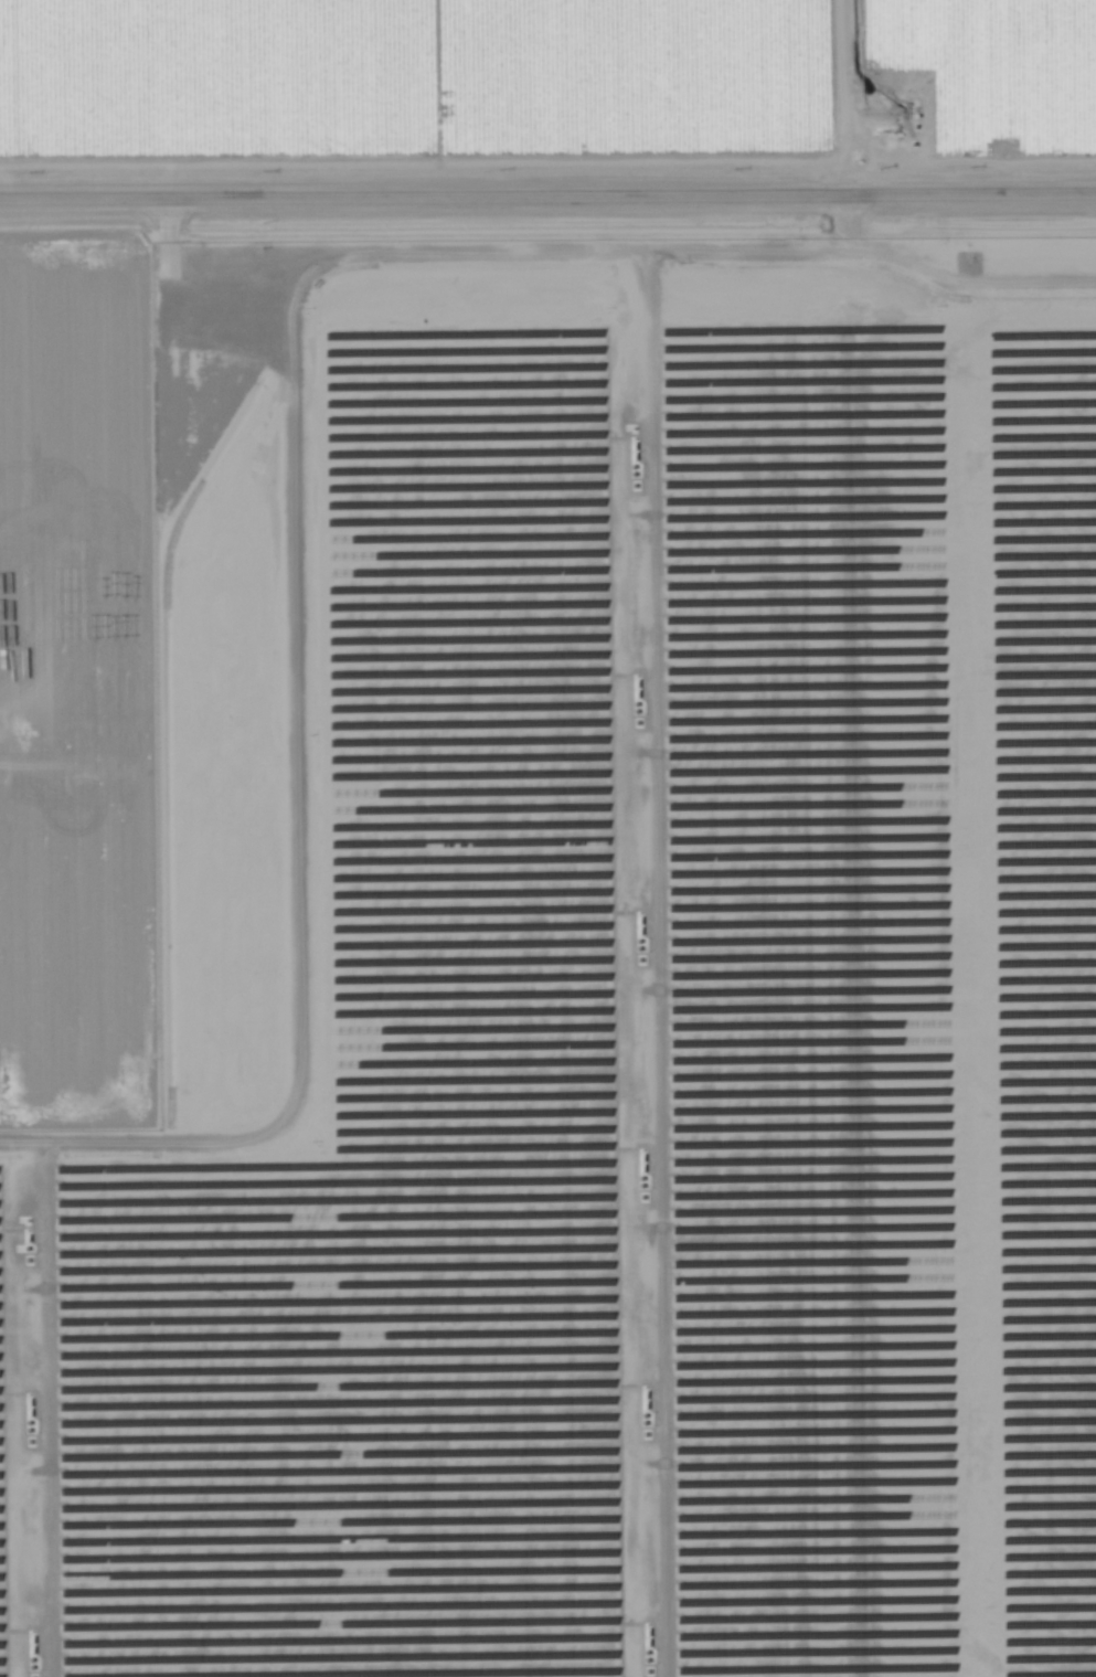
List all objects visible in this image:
crop: (544, 88)
road: (547, 208)
solar farm: (593, 988)

